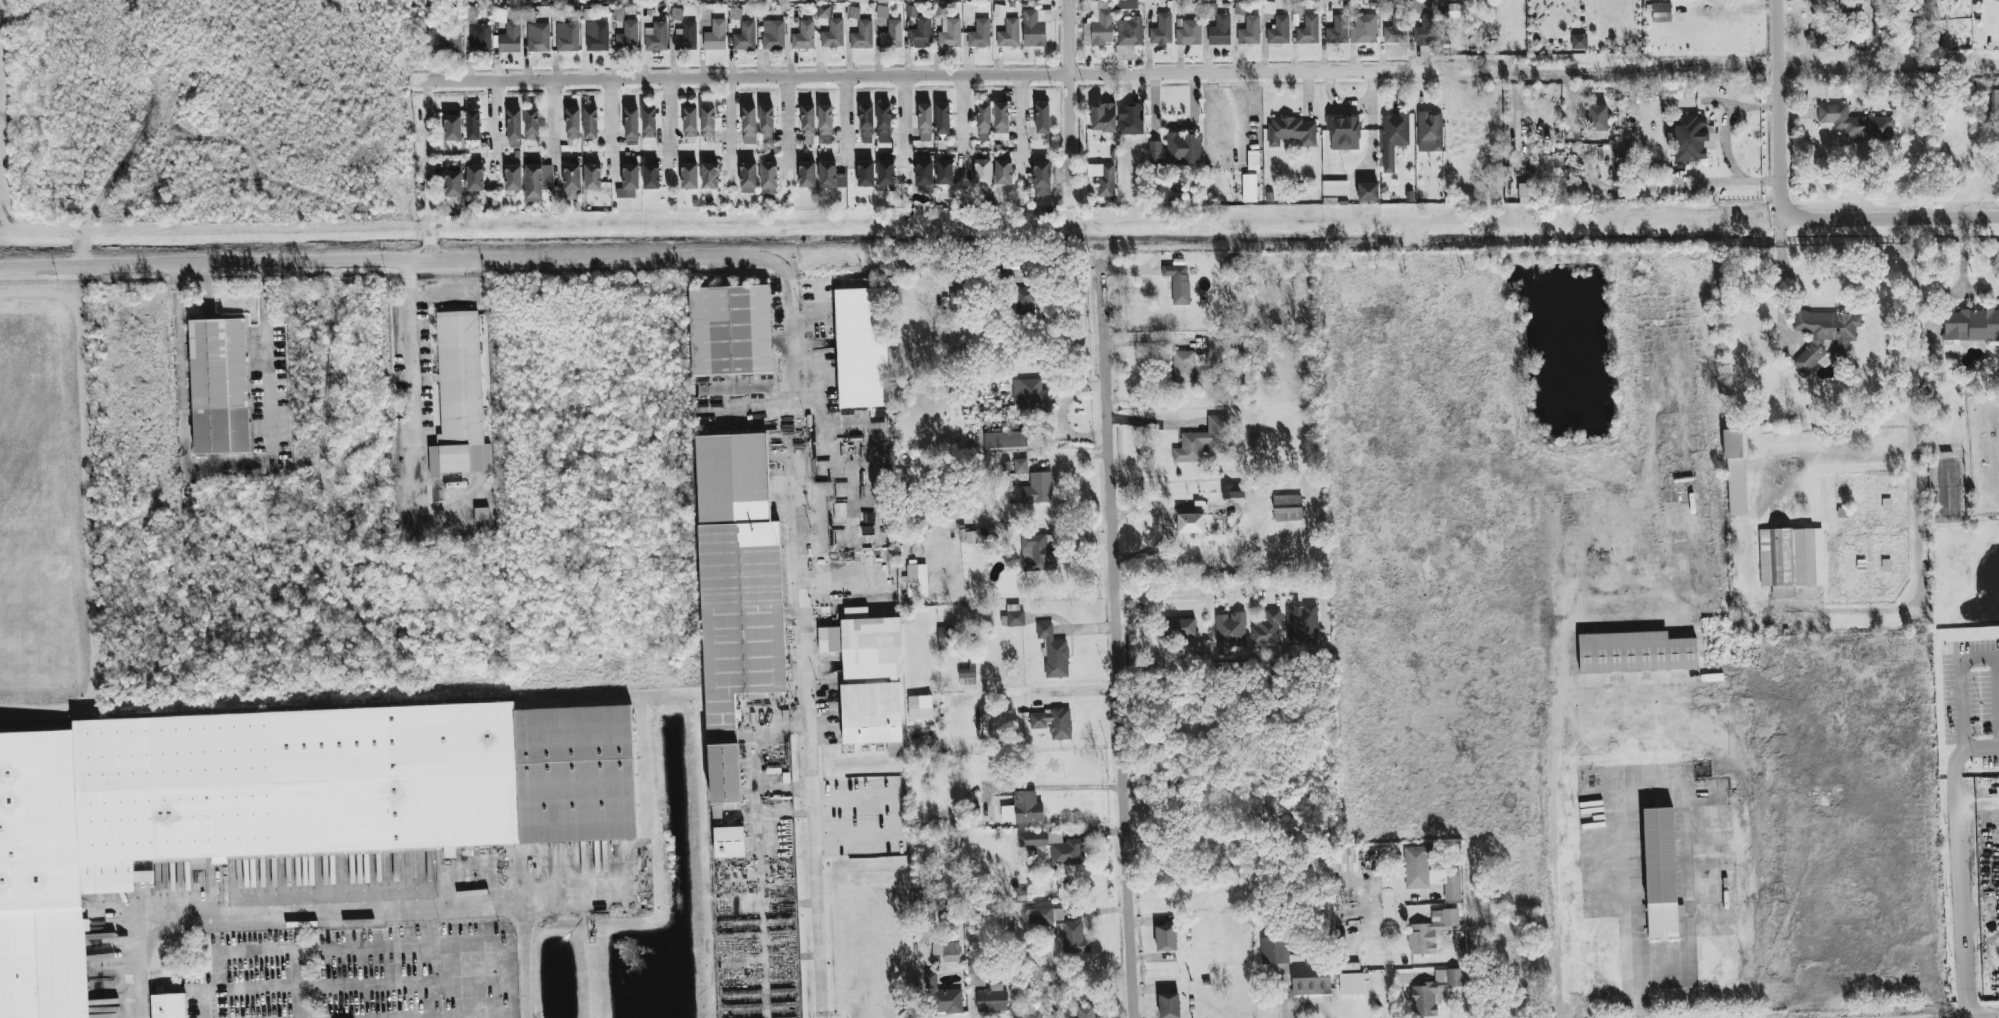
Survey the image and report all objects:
building: (706, 0)
building: (762, 0)
building: (792, 0)
building: (824, 0)
building: (1996, 0)
building: (559, 1)
building: (882, 1)
building: (573, 2)
building: (1127, 4)
building: (1239, 8)
building: (970, 11)
building: (999, 11)
building: (852, 12)
building: (1661, 12)
building: (676, 14)
building: (588, 15)
building: (529, 16)
building: (1097, 23)
building: (830, 27)
building: (1034, 27)
building: (947, 29)
building: (1364, 29)
building: (1161, 30)
building: (1308, 30)
building: (1396, 30)
building: (1425, 30)
building: (1220, 31)
building: (1278, 31)
building: (1337, 31)
building: (1129, 32)
building: (1249, 32)
building: (920, 33)
building: (1189, 33)
building: (979, 34)
building: (1008, 34)
road: (1780, 34)
building: (773, 35)
building: (862, 35)
building: (891, 35)
building: (596, 36)
building: (627, 36)
building: (715, 36)
building: (744, 36)
building: (803, 36)
building: (476, 37)
building: (538, 37)
building: (567, 37)
building: (656, 37)
building: (685, 37)
building: (508, 38)
building: (1816, 39)
building: (443, 41)
building: (1578, 42)
road: (1969, 62)
road: (1860, 65)
road: (1753, 67)
road: (1643, 70)
road: (992, 75)
road: (1071, 90)
building: (1672, 92)
building: (1993, 98)
road: (904, 117)
road: (668, 118)
building: (1042, 118)
building: (1103, 118)
building: (866, 119)
building: (942, 119)
road: (963, 119)
building: (1130, 119)
building: (766, 121)
road: (1020, 121)
building: (1598, 121)
road: (612, 122)
building: (631, 122)
building: (689, 122)
building: (707, 122)
road: (728, 122)
road: (844, 122)
building: (924, 122)
building: (983, 122)
building: (1000, 122)
road: (553, 123)
building: (590, 123)
building: (807, 123)
building: (1856, 123)
building: (531, 124)
building: (572, 124)
building: (883, 124)
road: (1729, 124)
building: (472, 125)
building: (648, 125)
building: (748, 125)
building: (824, 125)
building: (452, 128)
building: (514, 129)
road: (493, 130)
building: (1995, 131)
building: (1291, 132)
building: (1429, 132)
building: (1343, 133)
building: (1393, 137)
building: (1692, 138)
road: (1782, 143)
building: (1176, 150)
road: (424, 170)
building: (924, 172)
building: (944, 172)
building: (982, 172)
building: (1002, 172)
building: (806, 174)
building: (865, 174)
building: (885, 175)
building: (650, 176)
building: (689, 176)
building: (709, 176)
building: (830, 176)
building: (512, 177)
building: (592, 177)
building: (748, 177)
building: (475, 178)
building: (768, 178)
building: (1040, 179)
building: (1103, 179)
building: (630, 180)
building: (533, 182)
building: (571, 182)
road: (1689, 182)
building: (453, 184)
building: (1249, 188)
building: (1335, 188)
building: (924, 189)
building: (1558, 190)
building: (1367, 192)
building: (1524, 194)
road: (1896, 218)
road: (391, 259)
building: (1178, 283)
building: (1025, 301)
building: (955, 302)
building: (1971, 325)
building: (1823, 335)
building: (732, 338)
building: (1214, 343)
road: (1151, 344)
road: (417, 345)
building: (861, 348)
building: (1234, 357)
building: (1185, 365)
building: (1247, 382)
building: (222, 391)
building: (1029, 396)
building: (461, 400)
road: (1060, 415)
road: (1153, 429)
building: (1002, 441)
building: (1203, 441)
building: (1253, 442)
road: (1919, 463)
building: (1020, 466)
building: (1735, 472)
road: (225, 473)
building: (1038, 489)
building: (1232, 492)
road: (1766, 497)
building: (1287, 508)
road: (1167, 511)
building: (481, 514)
building: (1190, 524)
building: (970, 537)
road: (1152, 547)
building: (1038, 553)
building: (1790, 560)
building: (917, 581)
road: (1196, 590)
building: (739, 616)
building: (1014, 616)
building: (1185, 617)
building: (1301, 624)
road: (1068, 629)
building: (1267, 629)
building: (1230, 632)
road: (804, 634)
building: (947, 637)
road: (1117, 642)
building: (866, 649)
building: (1053, 653)
building: (1638, 656)
building: (967, 671)
road: (1959, 686)
road: (1076, 699)
building: (919, 709)
building: (872, 715)
building: (1052, 723)
road: (1980, 749)
road: (1975, 802)
building: (285, 809)
building: (1023, 809)
road: (1550, 831)
building: (1032, 840)
building: (1065, 850)
road: (1637, 858)
building: (1429, 874)
building: (144, 878)
building: (1664, 882)
road: (1957, 883)
road: (573, 901)
building: (1043, 916)
road: (340, 918)
building: (926, 921)
building: (1430, 932)
road: (1388, 936)
building: (1074, 939)
building: (1165, 940)
building: (950, 952)
building: (1275, 954)
building: (976, 962)
building: (99, 966)
road: (301, 969)
parking lot: (366, 975)
building: (1311, 977)
building: (1351, 985)
building: (1434, 991)
building: (943, 997)
building: (991, 999)
building: (168, 1004)
road: (1304, 1004)
building: (1168, 1006)
building: (1086, 1011)

